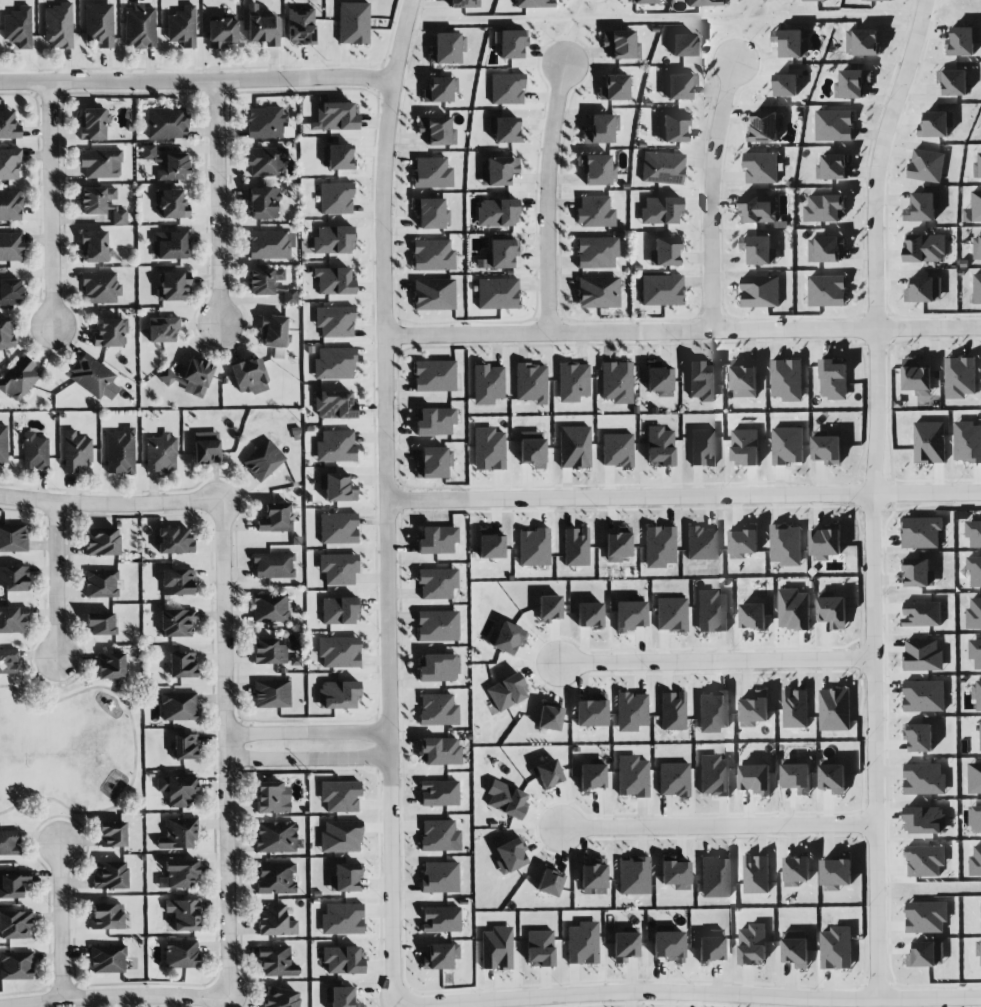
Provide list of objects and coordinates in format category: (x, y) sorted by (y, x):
building: (815, 0)
building: (878, 0)
building: (644, 1)
building: (534, 3)
building: (705, 3)
building: (463, 4)
road: (935, 12)
road: (665, 21)
building: (353, 23)
building: (99, 24)
building: (58, 26)
building: (300, 26)
building: (18, 27)
building: (139, 27)
building: (182, 27)
road: (931, 27)
building: (262, 28)
road: (740, 30)
road: (567, 31)
building: (222, 33)
building: (963, 41)
building: (791, 43)
building: (863, 43)
building: (511, 44)
building: (621, 44)
building: (683, 45)
building: (447, 48)
road: (196, 82)
building: (954, 82)
building: (852, 84)
building: (786, 85)
building: (680, 86)
building: (614, 88)
building: (507, 89)
building: (440, 90)
building: (336, 116)
building: (166, 123)
building: (267, 123)
building: (937, 124)
building: (8, 126)
building: (835, 126)
building: (764, 127)
building: (673, 128)
building: (504, 129)
building: (600, 129)
building: (436, 130)
building: (148, 152)
building: (338, 156)
building: (266, 162)
building: (9, 163)
building: (100, 163)
building: (927, 166)
building: (174, 167)
building: (833, 167)
building: (662, 168)
building: (761, 168)
building: (977, 169)
building: (498, 170)
building: (597, 170)
building: (432, 173)
road: (710, 197)
building: (335, 198)
road: (546, 200)
road: (218, 202)
building: (264, 203)
building: (102, 204)
building: (170, 204)
building: (10, 205)
road: (51, 205)
building: (923, 207)
building: (825, 208)
building: (759, 209)
building: (974, 209)
building: (660, 210)
building: (496, 212)
building: (594, 212)
building: (431, 213)
building: (333, 240)
building: (170, 245)
building: (270, 245)
building: (11, 247)
building: (95, 247)
building: (925, 248)
building: (977, 248)
building: (826, 249)
building: (759, 250)
building: (596, 252)
building: (665, 252)
building: (500, 253)
building: (432, 255)
building: (264, 280)
building: (334, 281)
building: (172, 286)
building: (100, 288)
building: (977, 289)
building: (661, 290)
building: (925, 290)
building: (827, 291)
building: (10, 292)
building: (598, 292)
building: (761, 292)
building: (434, 294)
building: (290, 296)
building: (335, 322)
building: (162, 329)
building: (273, 331)
building: (110, 332)
building: (5, 333)
road: (683, 334)
building: (334, 363)
building: (249, 376)
building: (434, 376)
building: (166, 377)
building: (196, 377)
building: (917, 377)
building: (960, 377)
building: (93, 378)
building: (19, 379)
building: (659, 379)
building: (744, 379)
building: (787, 380)
building: (834, 380)
building: (573, 381)
building: (701, 381)
building: (531, 382)
building: (617, 382)
building: (488, 384)
building: (334, 405)
building: (435, 422)
building: (930, 442)
building: (967, 442)
building: (3, 445)
building: (335, 446)
building: (659, 446)
building: (788, 446)
building: (574, 447)
building: (702, 447)
building: (745, 447)
building: (206, 448)
building: (827, 448)
building: (489, 449)
building: (532, 449)
building: (617, 450)
building: (76, 451)
building: (120, 451)
building: (35, 453)
building: (161, 453)
building: (263, 460)
building: (434, 462)
building: (337, 488)
road: (872, 495)
road: (386, 497)
road: (684, 497)
road: (110, 504)
building: (275, 518)
building: (338, 528)
building: (921, 533)
building: (974, 533)
building: (13, 538)
building: (437, 540)
building: (175, 541)
building: (102, 542)
building: (744, 542)
building: (702, 543)
building: (825, 543)
building: (490, 544)
building: (618, 545)
building: (786, 545)
building: (534, 547)
building: (575, 547)
building: (660, 547)
building: (273, 565)
building: (338, 568)
building: (975, 572)
building: (919, 573)
building: (14, 578)
road: (56, 581)
building: (177, 582)
building: (101, 583)
building: (437, 583)
building: (270, 608)
building: (549, 608)
building: (338, 610)
building: (794, 610)
building: (712, 611)
building: (833, 612)
building: (671, 614)
building: (922, 614)
building: (974, 614)
building: (589, 615)
building: (630, 615)
building: (753, 617)
building: (12, 620)
building: (177, 623)
building: (101, 624)
building: (437, 626)
building: (506, 638)
building: (268, 652)
building: (339, 652)
building: (976, 652)
building: (923, 656)
building: (8, 661)
road: (716, 661)
building: (182, 665)
building: (111, 666)
building: (439, 668)
building: (506, 692)
building: (977, 692)
building: (271, 694)
building: (337, 694)
building: (924, 696)
building: (178, 706)
building: (755, 709)
building: (795, 709)
building: (438, 710)
building: (835, 710)
building: (631, 711)
building: (672, 711)
building: (713, 711)
building: (591, 712)
building: (549, 718)
road: (306, 735)
building: (920, 737)
building: (184, 746)
road: (134, 747)
road: (224, 747)
building: (439, 751)
road: (307, 759)
building: (548, 773)
building: (591, 776)
building: (714, 776)
building: (797, 776)
building: (632, 777)
building: (834, 777)
building: (975, 778)
building: (673, 779)
building: (756, 779)
building: (925, 779)
building: (177, 790)
building: (439, 793)
building: (340, 796)
building: (272, 797)
building: (505, 799)
building: (975, 819)
building: (926, 820)
road: (718, 825)
building: (178, 833)
building: (112, 834)
building: (437, 835)
building: (340, 836)
building: (276, 837)
building: (9, 843)
building: (509, 856)
building: (926, 861)
building: (976, 862)
building: (797, 870)
building: (837, 872)
building: (674, 873)
building: (178, 874)
building: (757, 874)
building: (110, 875)
building: (593, 875)
building: (634, 876)
building: (716, 876)
building: (439, 877)
building: (276, 878)
building: (345, 878)
building: (549, 882)
building: (13, 883)
building: (183, 914)
building: (107, 916)
building: (927, 917)
building: (342, 919)
building: (440, 919)
building: (276, 921)
road: (59, 922)
building: (15, 925)
building: (582, 943)
building: (625, 944)
building: (668, 945)
building: (753, 945)
building: (496, 948)
building: (539, 948)
building: (837, 948)
building: (710, 949)
building: (796, 949)
building: (979, 949)
building: (181, 954)
building: (927, 955)
building: (441, 956)
building: (107, 958)
building: (342, 960)
building: (276, 961)
building: (16, 965)
road: (688, 992)
road: (112, 997)
building: (340, 997)
building: (281, 998)

